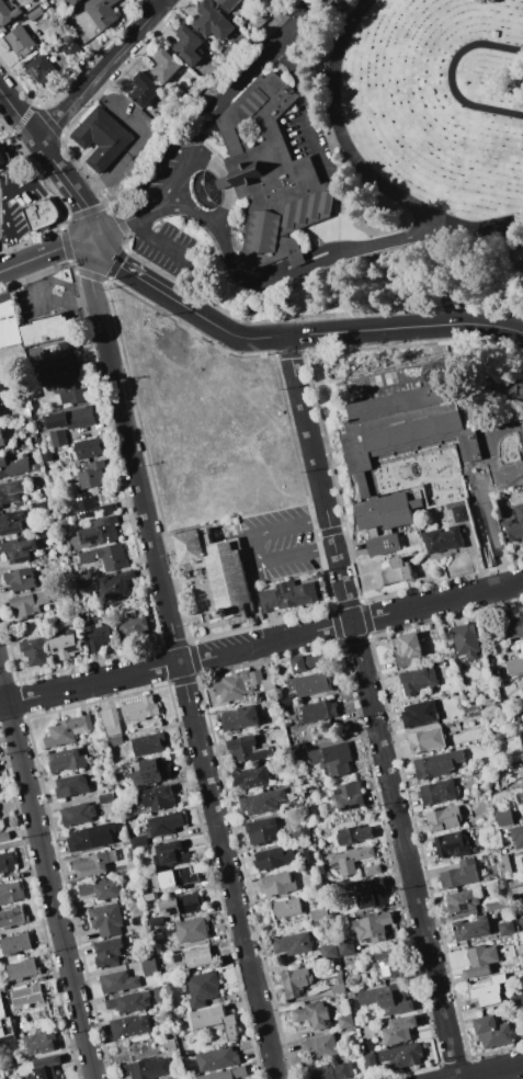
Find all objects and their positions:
building: (70, 2)
building: (43, 4)
building: (227, 4)
building: (101, 12)
building: (8, 13)
building: (34, 13)
building: (212, 21)
building: (493, 34)
building: (20, 41)
building: (186, 41)
building: (71, 49)
building: (230, 52)
building: (164, 66)
building: (42, 69)
road: (99, 70)
road: (451, 78)
building: (144, 89)
road: (228, 90)
road: (304, 109)
building: (99, 137)
road: (136, 140)
building: (3, 156)
park: (348, 162)
road: (55, 164)
road: (356, 167)
building: (269, 178)
road: (29, 182)
fountain: (204, 189)
parking lot: (15, 201)
building: (39, 214)
road: (124, 220)
road: (9, 237)
traffic signals: (100, 243)
road: (167, 245)
road: (48, 250)
building: (518, 252)
road: (283, 276)
road: (143, 280)
road: (41, 305)
building: (8, 322)
building: (44, 331)
road: (354, 331)
building: (60, 363)
park: (389, 377)
park: (375, 382)
road: (253, 384)
building: (0, 388)
building: (513, 389)
building: (32, 393)
building: (68, 394)
building: (475, 412)
building: (26, 413)
building: (70, 419)
road: (232, 421)
building: (57, 438)
building: (1, 441)
building: (32, 441)
building: (88, 447)
building: (401, 450)
building: (19, 454)
building: (47, 456)
building: (12, 466)
building: (35, 466)
building: (90, 476)
building: (11, 492)
building: (83, 504)
building: (107, 508)
building: (462, 513)
building: (10, 522)
building: (514, 526)
building: (95, 533)
building: (443, 539)
parking lot: (277, 543)
road: (255, 548)
building: (19, 549)
building: (105, 557)
building: (216, 569)
building: (395, 572)
building: (20, 579)
building: (114, 584)
building: (285, 595)
building: (27, 603)
building: (512, 624)
building: (133, 629)
building: (99, 634)
building: (465, 641)
building: (65, 644)
road: (261, 644)
building: (407, 649)
building: (33, 651)
road: (177, 661)
building: (308, 661)
building: (515, 663)
building: (418, 680)
building: (522, 680)
building: (242, 684)
building: (305, 686)
road: (369, 707)
building: (522, 707)
building: (140, 708)
building: (319, 711)
building: (419, 713)
building: (522, 716)
building: (239, 718)
building: (110, 720)
building: (66, 730)
building: (431, 738)
building: (521, 740)
building: (114, 741)
building: (148, 743)
building: (246, 750)
building: (297, 753)
building: (333, 758)
building: (66, 761)
building: (522, 762)
building: (270, 763)
building: (434, 765)
building: (149, 771)
building: (500, 773)
building: (252, 777)
building: (71, 786)
building: (113, 787)
building: (437, 792)
building: (281, 793)
building: (348, 796)
building: (157, 797)
building: (105, 798)
building: (259, 803)
building: (77, 814)
building: (504, 817)
building: (443, 819)
building: (164, 824)
building: (261, 830)
building: (305, 832)
building: (354, 834)
building: (3, 836)
building: (516, 836)
building: (87, 839)
building: (138, 841)
building: (451, 844)
building: (505, 848)
building: (170, 854)
building: (308, 855)
building: (273, 859)
building: (351, 859)
building: (7, 862)
building: (93, 863)
building: (505, 863)
building: (130, 864)
building: (372, 870)
road: (47, 872)
building: (458, 875)
building: (175, 878)
building: (277, 884)
building: (502, 884)
building: (515, 886)
building: (100, 889)
building: (10, 891)
building: (372, 893)
building: (148, 897)
building: (462, 900)
building: (185, 904)
building: (496, 905)
building: (286, 908)
building: (319, 915)
building: (11, 917)
building: (105, 919)
building: (156, 920)
building: (372, 928)
building: (470, 928)
building: (505, 928)
building: (191, 930)
building: (139, 933)
building: (14, 943)
building: (292, 944)
building: (345, 946)
building: (510, 950)
building: (328, 951)
building: (107, 953)
building: (147, 953)
building: (193, 957)
building: (480, 961)
building: (387, 964)
building: (148, 966)
building: (22, 968)
building: (0, 972)
building: (295, 980)
building: (117, 981)
building: (338, 986)
building: (1, 987)
building: (202, 988)
building: (488, 992)
building: (159, 993)
building: (26, 995)
building: (518, 999)
building: (385, 1001)
building: (129, 1002)
building: (1, 1011)
building: (312, 1015)
building: (10, 1020)
building: (214, 1021)
building: (345, 1021)
building: (129, 1026)
building: (399, 1030)
building: (5, 1032)
building: (492, 1032)
building: (39, 1043)
building: (169, 1044)
building: (320, 1046)
building: (402, 1055)
building: (217, 1058)
building: (369, 1063)
building: (44, 1067)
building: (147, 1068)
building: (331, 1070)
road: (493, 1071)
building: (0, 1072)
building: (226, 1074)

